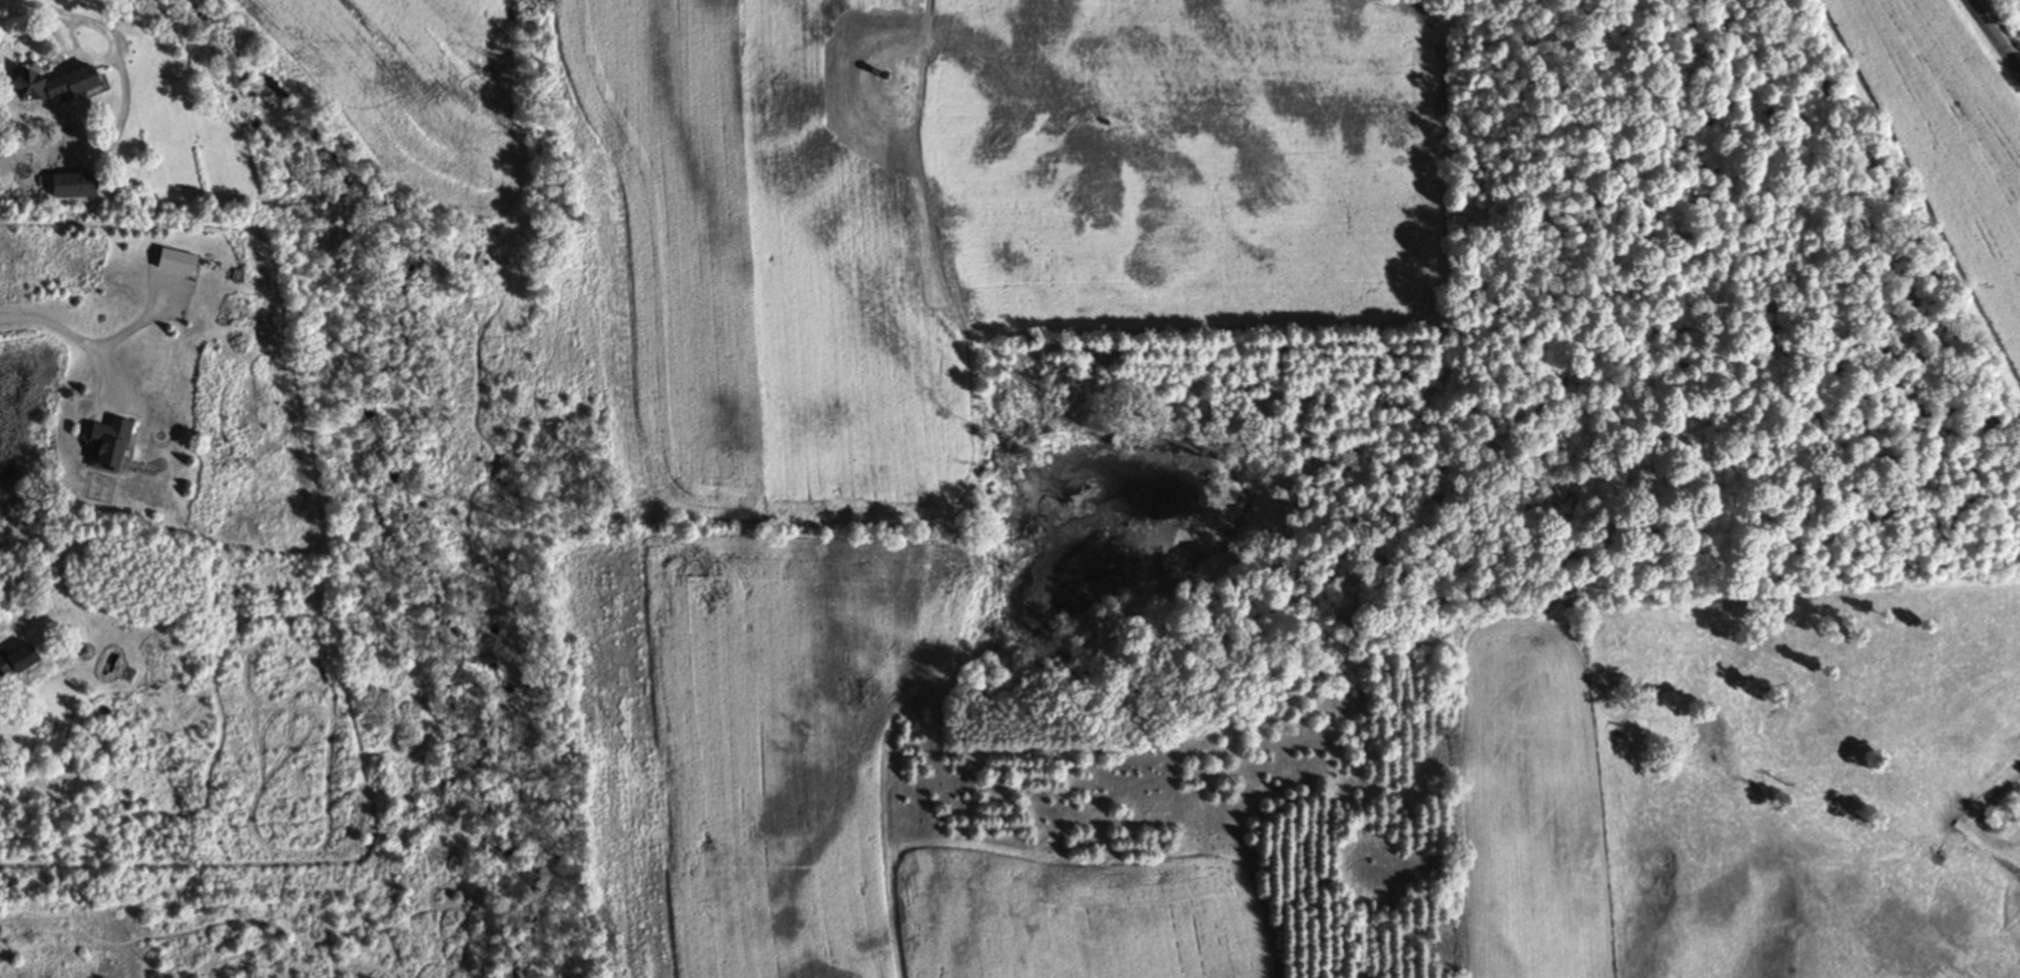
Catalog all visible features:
road: (41, 5)
road: (1994, 36)
road: (110, 57)
building: (57, 85)
building: (79, 185)
building: (181, 262)
road: (136, 323)
road: (77, 337)
building: (115, 446)
building: (16, 660)

